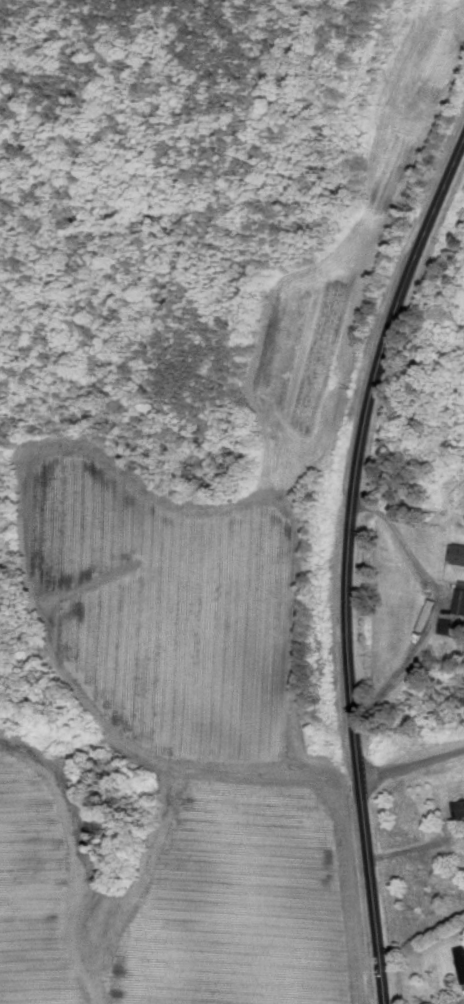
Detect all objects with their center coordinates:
building: (457, 553)
road: (352, 561)
building: (461, 601)
building: (448, 625)
road: (411, 766)
building: (460, 806)
building: (461, 956)
road: (47, 973)

